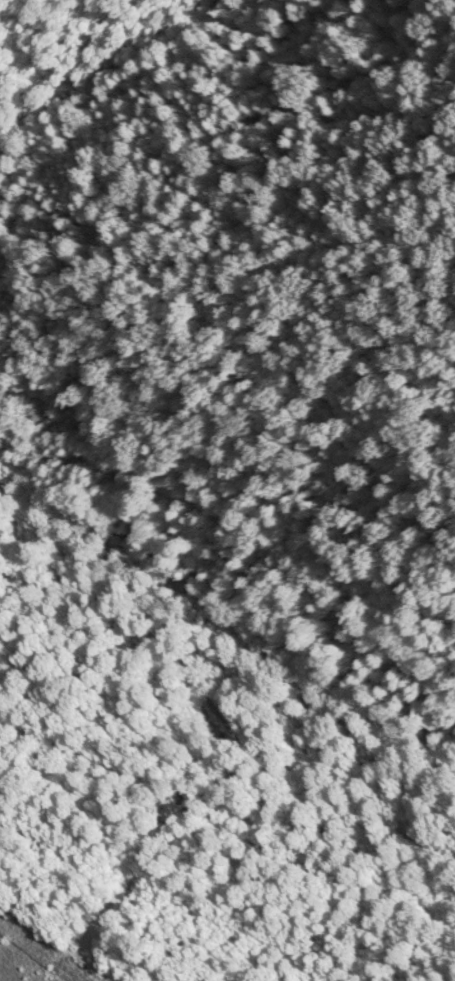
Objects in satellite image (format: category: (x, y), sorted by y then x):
quarry: (80, 944)

